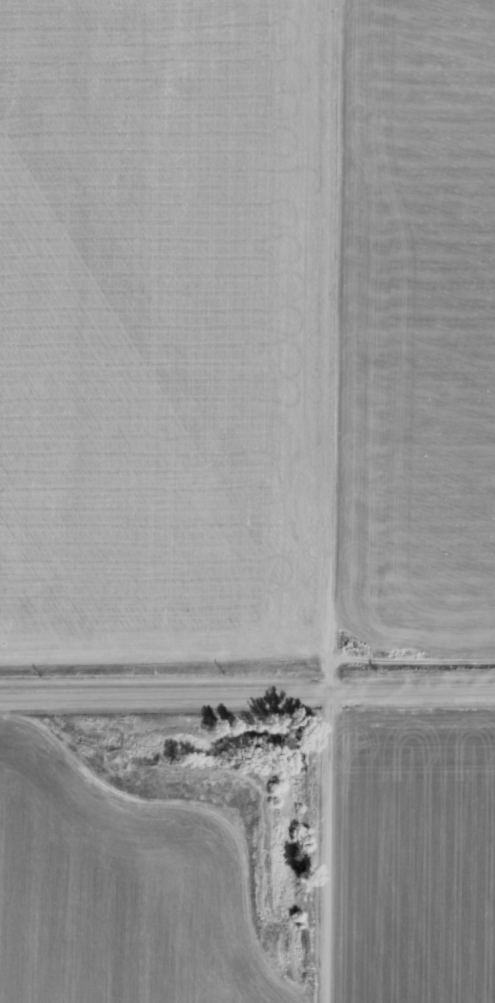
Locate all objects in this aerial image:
road: (247, 693)

